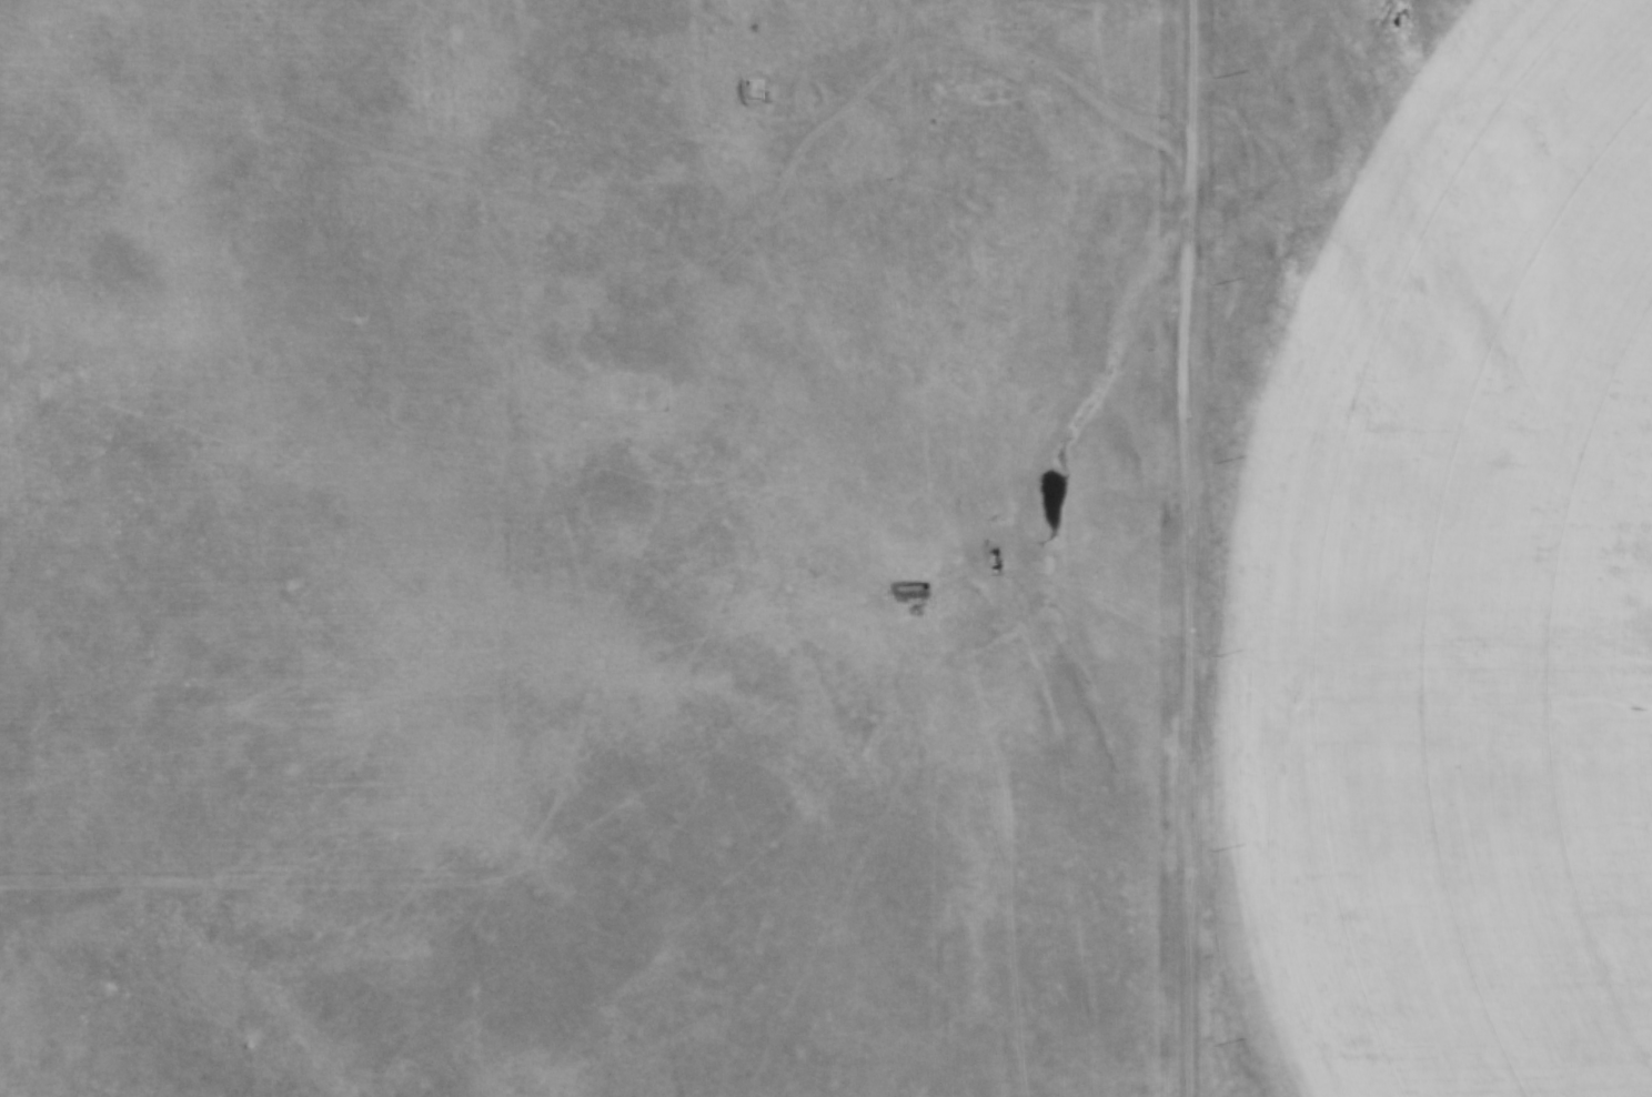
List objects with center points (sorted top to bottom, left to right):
road: (1190, 548)

